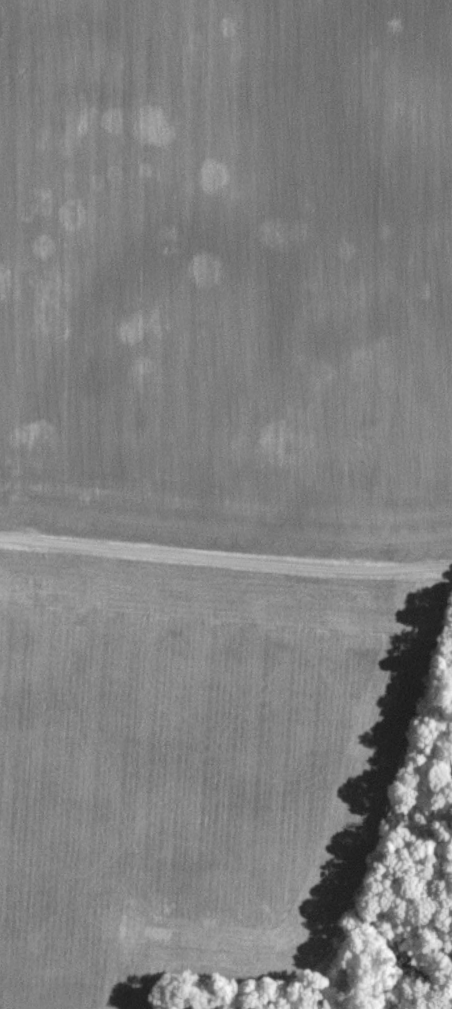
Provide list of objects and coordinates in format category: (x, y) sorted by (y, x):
road: (225, 555)

